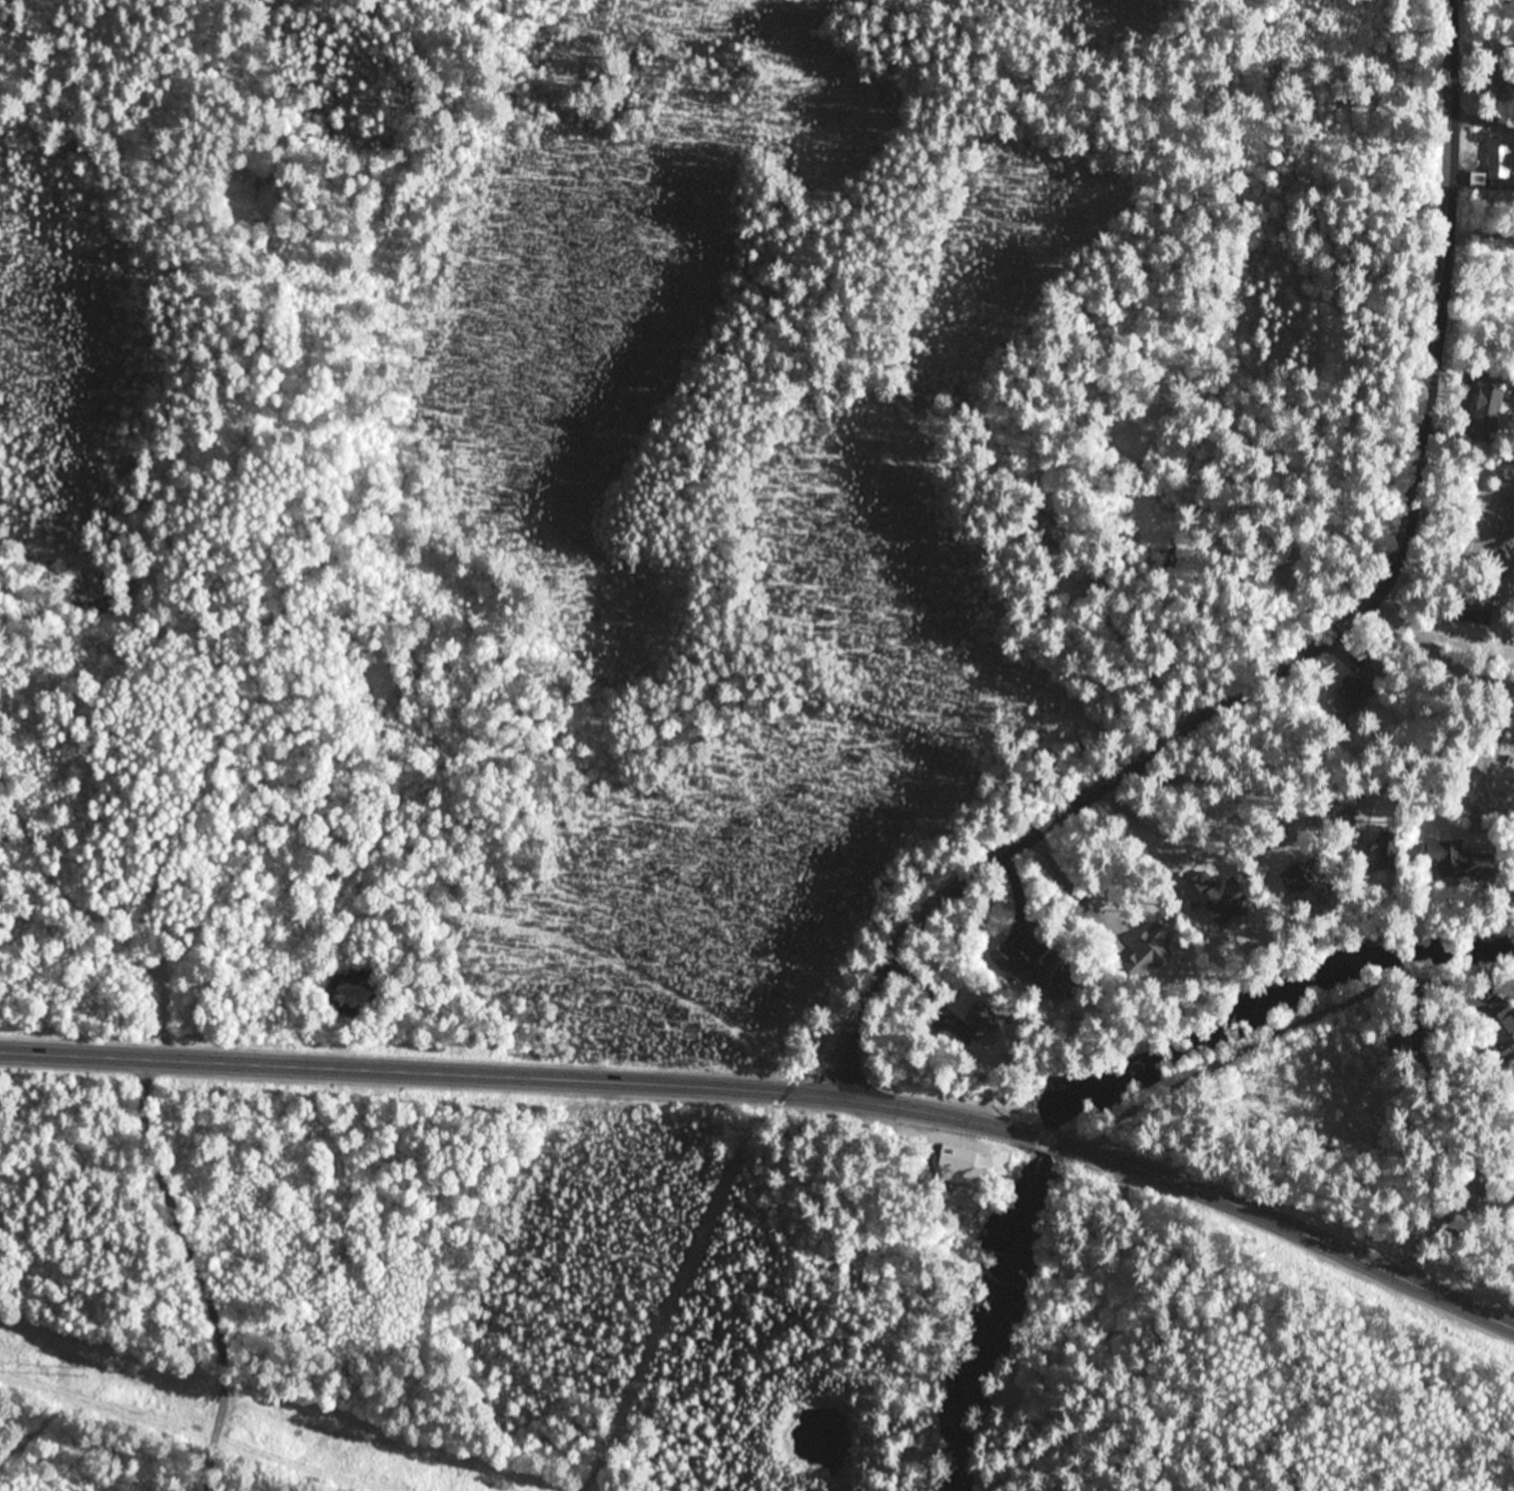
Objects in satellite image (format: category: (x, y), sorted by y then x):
building: (1500, 80)
road: (1482, 118)
building: (1502, 155)
building: (1480, 176)
building: (1488, 407)
building: (1042, 523)
building: (1093, 582)
building: (1475, 607)
road: (1313, 647)
road: (1438, 656)
building: (1356, 692)
building: (1345, 808)
building: (1387, 847)
building: (1458, 858)
building: (1034, 966)
building: (1504, 1032)
road: (1277, 1033)
building: (1398, 1036)
road: (518, 1077)
road: (1042, 1142)
building: (959, 1169)
building: (1472, 1195)
road: (1286, 1229)
road: (191, 1273)

